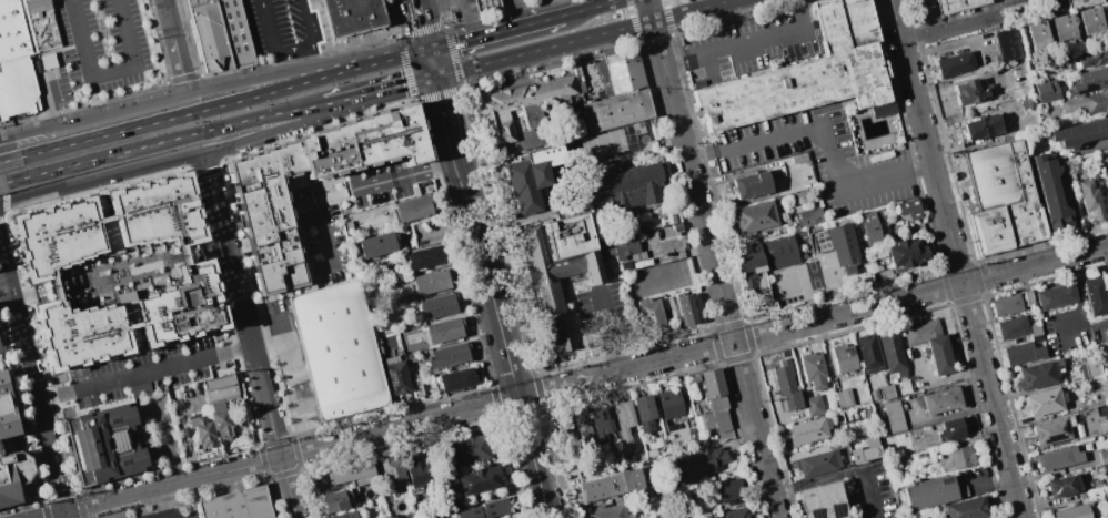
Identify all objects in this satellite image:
road: (500, 0)
road: (979, 1)
road: (1026, 1)
road: (430, 2)
road: (1016, 2)
building: (1084, 2)
road: (472, 3)
road: (487, 3)
road: (1007, 3)
building: (486, 4)
gas station: (486, 4)
building: (956, 4)
road: (996, 4)
road: (950, 6)
road: (1011, 6)
road: (553, 8)
road: (591, 8)
road: (981, 9)
road: (521, 12)
road: (933, 13)
building: (354, 17)
road: (954, 17)
road: (469, 19)
building: (1090, 21)
road: (423, 23)
road: (949, 23)
parking lot: (281, 28)
building: (1062, 28)
road: (495, 32)
building: (222, 33)
building: (1037, 34)
road: (194, 37)
road: (585, 37)
building: (1007, 43)
road: (177, 44)
road: (749, 44)
parking lot: (753, 44)
parking lot: (100, 45)
traffic signals: (430, 49)
road: (292, 50)
building: (23, 52)
building: (1088, 58)
road: (311, 59)
road: (384, 61)
building: (955, 61)
road: (433, 62)
building: (1018, 68)
road: (105, 71)
building: (631, 72)
building: (808, 74)
traffic signals: (436, 75)
building: (1090, 80)
road: (390, 87)
building: (974, 88)
rooftop solar panel: (1089, 90)
building: (1046, 91)
road: (167, 95)
road: (335, 101)
building: (1086, 102)
building: (525, 103)
building: (617, 110)
building: (531, 114)
road: (179, 115)
building: (540, 119)
building: (983, 123)
building: (1079, 133)
road: (174, 138)
road: (827, 138)
building: (365, 143)
building: (1107, 150)
road: (10, 159)
parking lot: (823, 159)
road: (175, 161)
road: (692, 170)
building: (530, 176)
road: (12, 179)
building: (751, 184)
building: (621, 187)
road: (101, 189)
building: (1051, 192)
building: (1004, 195)
building: (1091, 199)
road: (4, 201)
building: (909, 207)
building: (413, 210)
building: (270, 215)
building: (808, 215)
building: (755, 216)
building: (869, 228)
road: (222, 231)
building: (567, 235)
road: (476, 236)
building: (376, 244)
building: (842, 246)
building: (626, 248)
building: (905, 253)
building: (425, 256)
road: (957, 258)
building: (592, 266)
rooftop solar panel: (593, 266)
building: (763, 270)
building: (120, 271)
building: (430, 281)
building: (550, 283)
road: (4, 286)
road: (1077, 291)
road: (920, 294)
building: (1096, 295)
road: (23, 296)
building: (1056, 296)
building: (1029, 298)
building: (1007, 305)
building: (436, 306)
building: (686, 309)
road: (225, 311)
parking lot: (606, 313)
building: (649, 315)
road: (1084, 326)
road: (610, 327)
building: (1013, 327)
building: (443, 329)
building: (921, 332)
building: (1037, 332)
road: (232, 347)
building: (1107, 347)
building: (338, 349)
building: (869, 352)
building: (893, 352)
road: (42, 353)
building: (1024, 353)
building: (447, 355)
building: (941, 355)
building: (845, 358)
building: (1092, 368)
road: (626, 369)
road: (145, 370)
building: (815, 370)
building: (396, 375)
building: (1039, 375)
building: (784, 377)
road: (33, 379)
building: (456, 379)
building: (221, 386)
building: (140, 389)
building: (888, 393)
road: (57, 394)
building: (845, 398)
building: (714, 400)
building: (943, 400)
building: (793, 402)
building: (1046, 402)
building: (669, 403)
building: (814, 405)
building: (7, 409)
road: (22, 412)
building: (644, 412)
road: (269, 413)
building: (895, 416)
building: (855, 419)
building: (220, 420)
building: (623, 420)
building: (601, 421)
building: (581, 423)
building: (565, 427)
rooftop solar panel: (1065, 427)
road: (756, 429)
building: (1052, 429)
building: (202, 430)
building: (809, 430)
building: (951, 430)
rooftop solar panel: (1054, 438)
rooftop solar panel: (119, 441)
building: (103, 444)
building: (844, 444)
building: (6, 445)
building: (470, 448)
building: (865, 450)
rooftop solar panel: (77, 454)
road: (293, 455)
building: (1104, 455)
road: (534, 457)
building: (958, 458)
building: (1059, 458)
building: (698, 463)
building: (818, 463)
road: (170, 468)
building: (417, 470)
building: (392, 471)
building: (352, 474)
building: (12, 475)
building: (479, 480)
building: (611, 485)
building: (1065, 486)
building: (728, 489)
building: (1097, 490)
parking lot: (873, 491)
building: (930, 492)
road: (64, 495)
building: (647, 495)
road: (46, 498)
road: (870, 498)
building: (336, 499)
building: (823, 501)
road: (161, 504)
building: (238, 504)
road: (81, 505)
building: (967, 509)
road: (47, 510)
building: (484, 510)
building: (612, 510)
rooftop solar panel: (835, 511)
building: (735, 512)
building: (1072, 512)
road: (56, 515)
road: (68, 515)
building: (343, 515)
rooftop solar panel: (813, 516)

